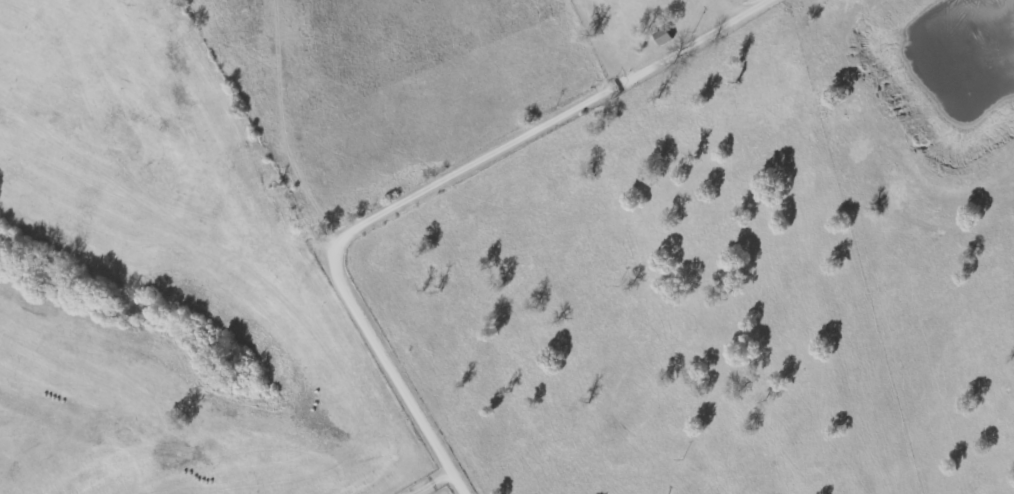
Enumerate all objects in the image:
road: (542, 123)
road: (331, 259)

